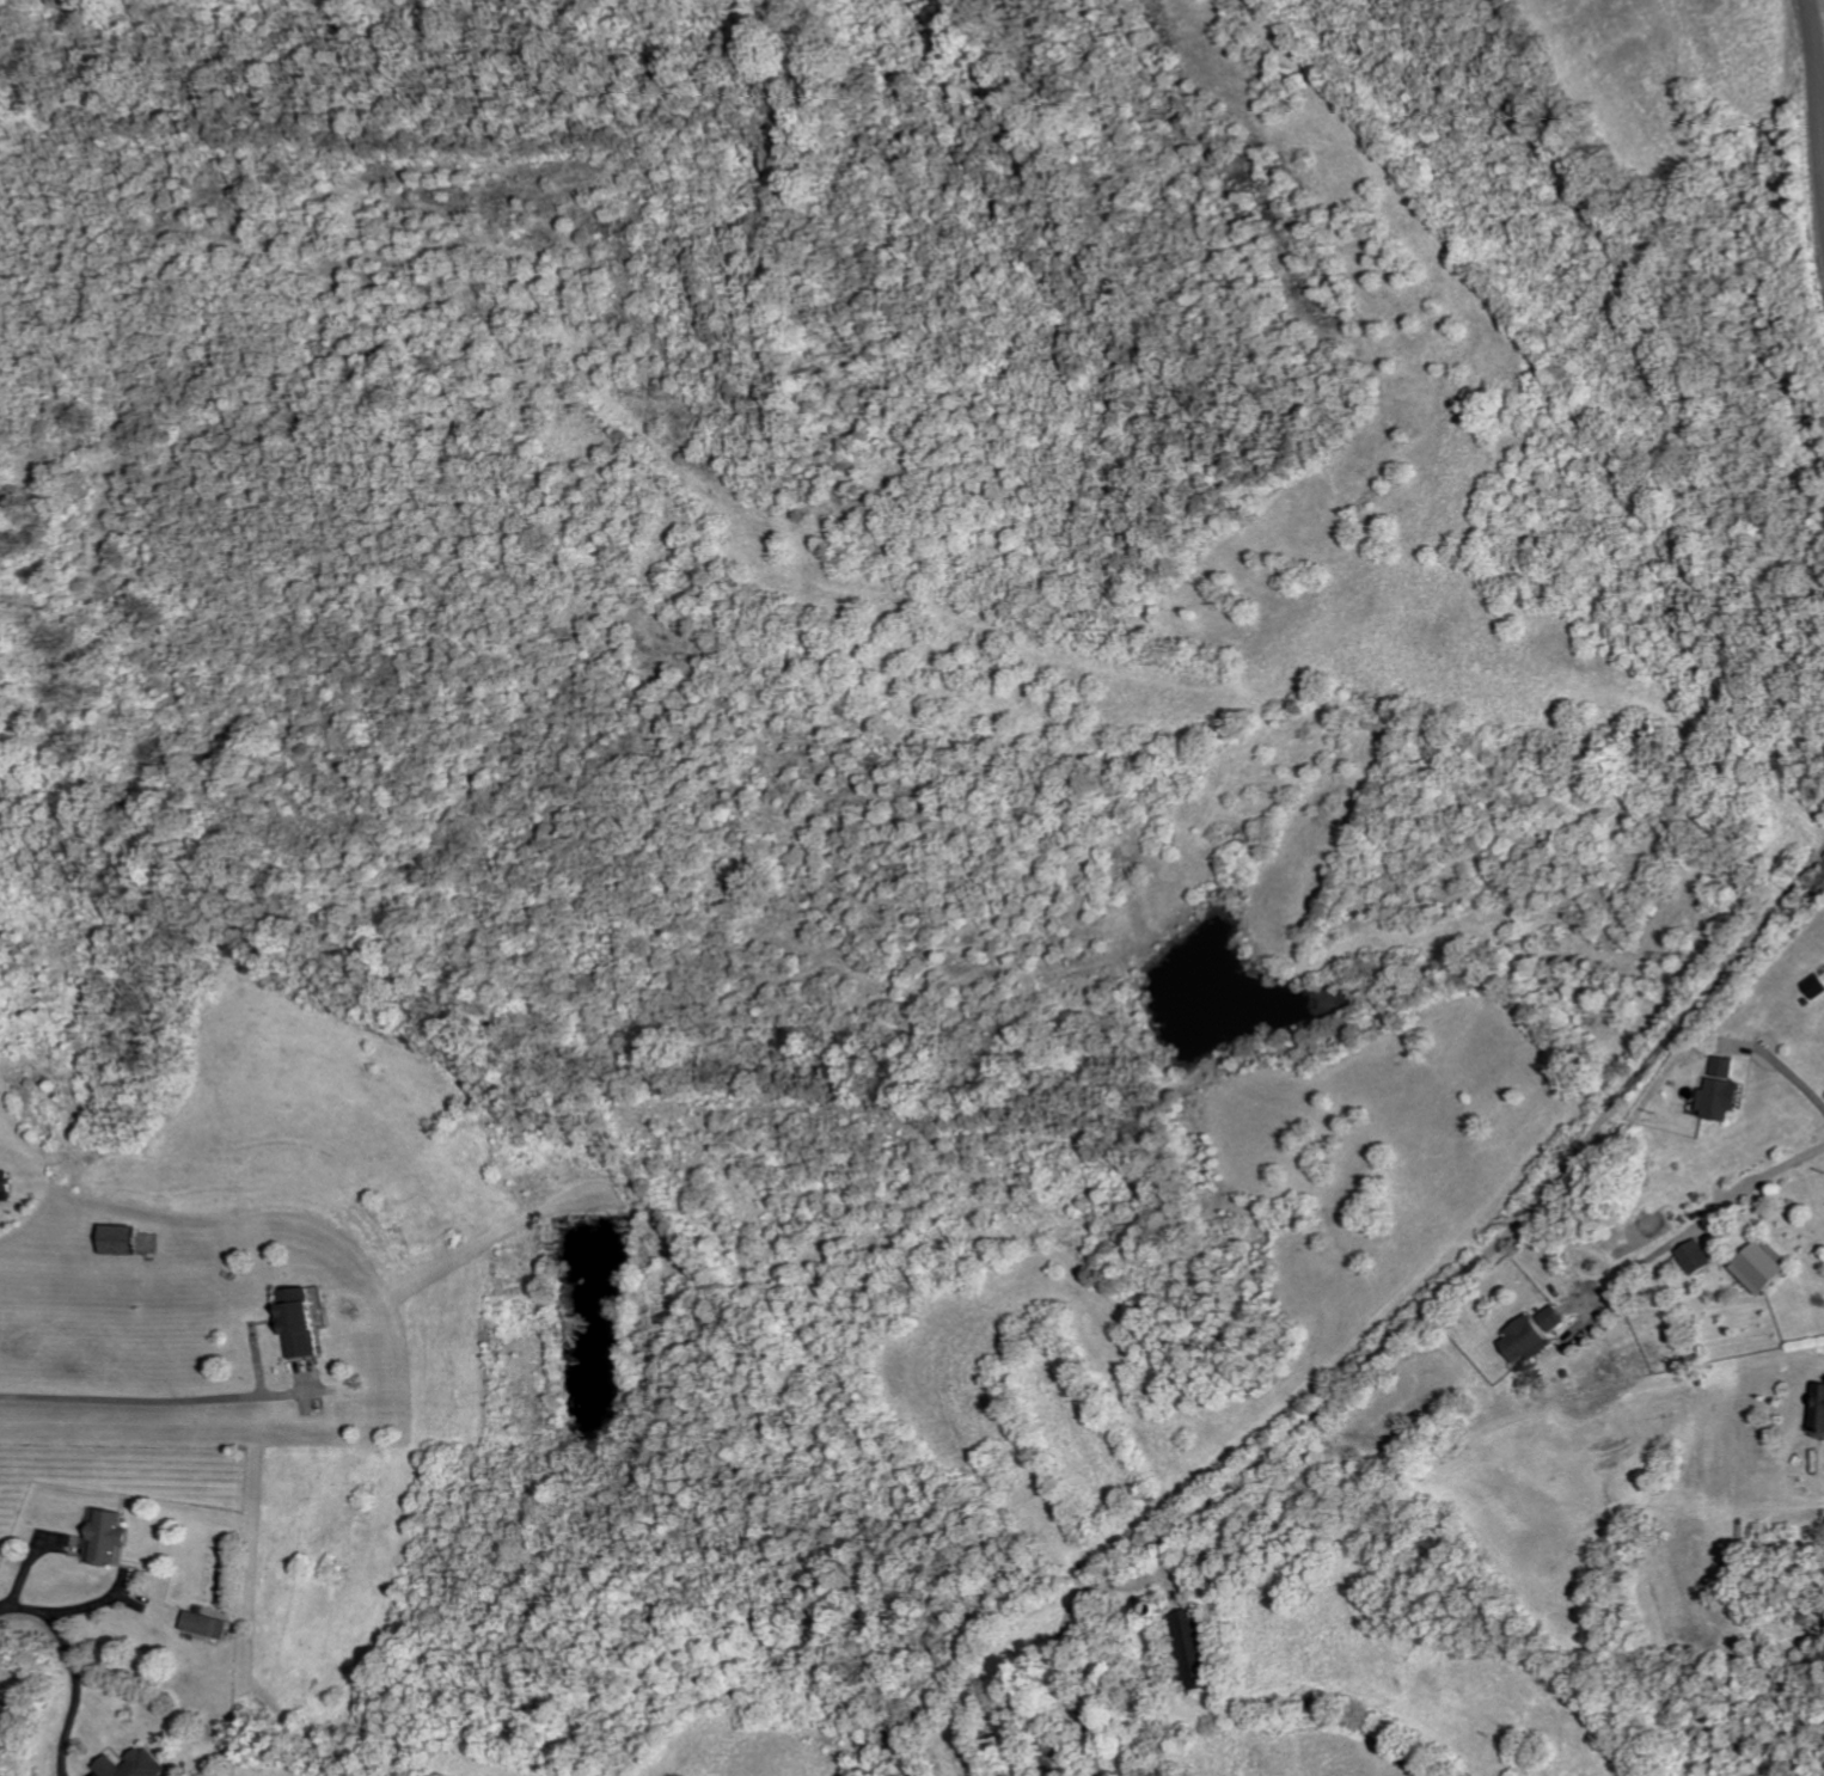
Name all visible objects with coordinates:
road: (1818, 51)
building: (1817, 986)
road: (1792, 1074)
building: (1724, 1090)
building: (8, 1184)
road: (1702, 1220)
building: (124, 1238)
road: (1496, 1245)
building: (1700, 1256)
building: (1765, 1267)
building: (1556, 1317)
building: (1529, 1339)
road: (153, 1395)
building: (1820, 1404)
building: (112, 1537)
building: (210, 1623)
building: (1201, 1648)
road: (78, 1658)
building: (140, 1764)

